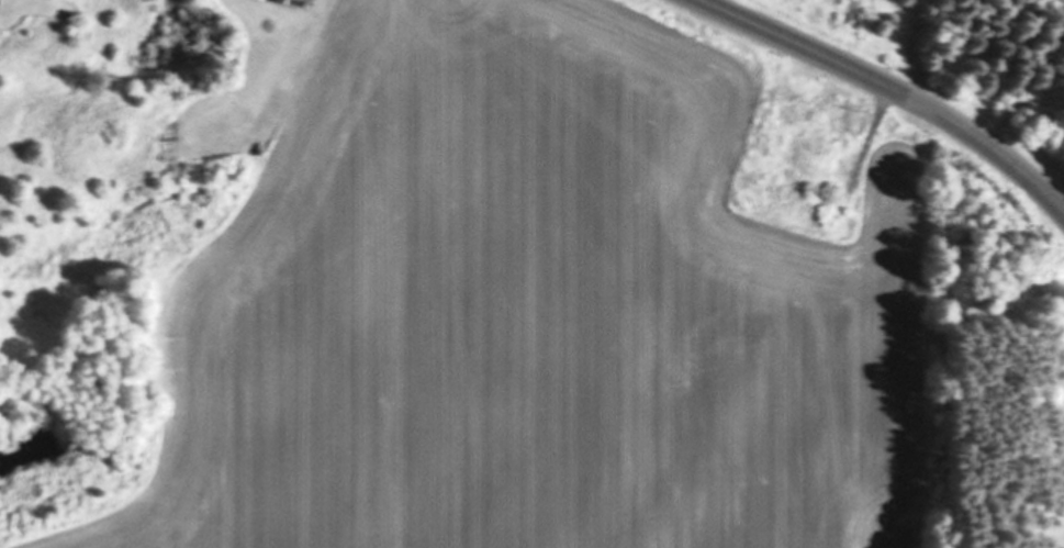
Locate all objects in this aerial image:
road: (822, 56)
road: (1007, 165)

